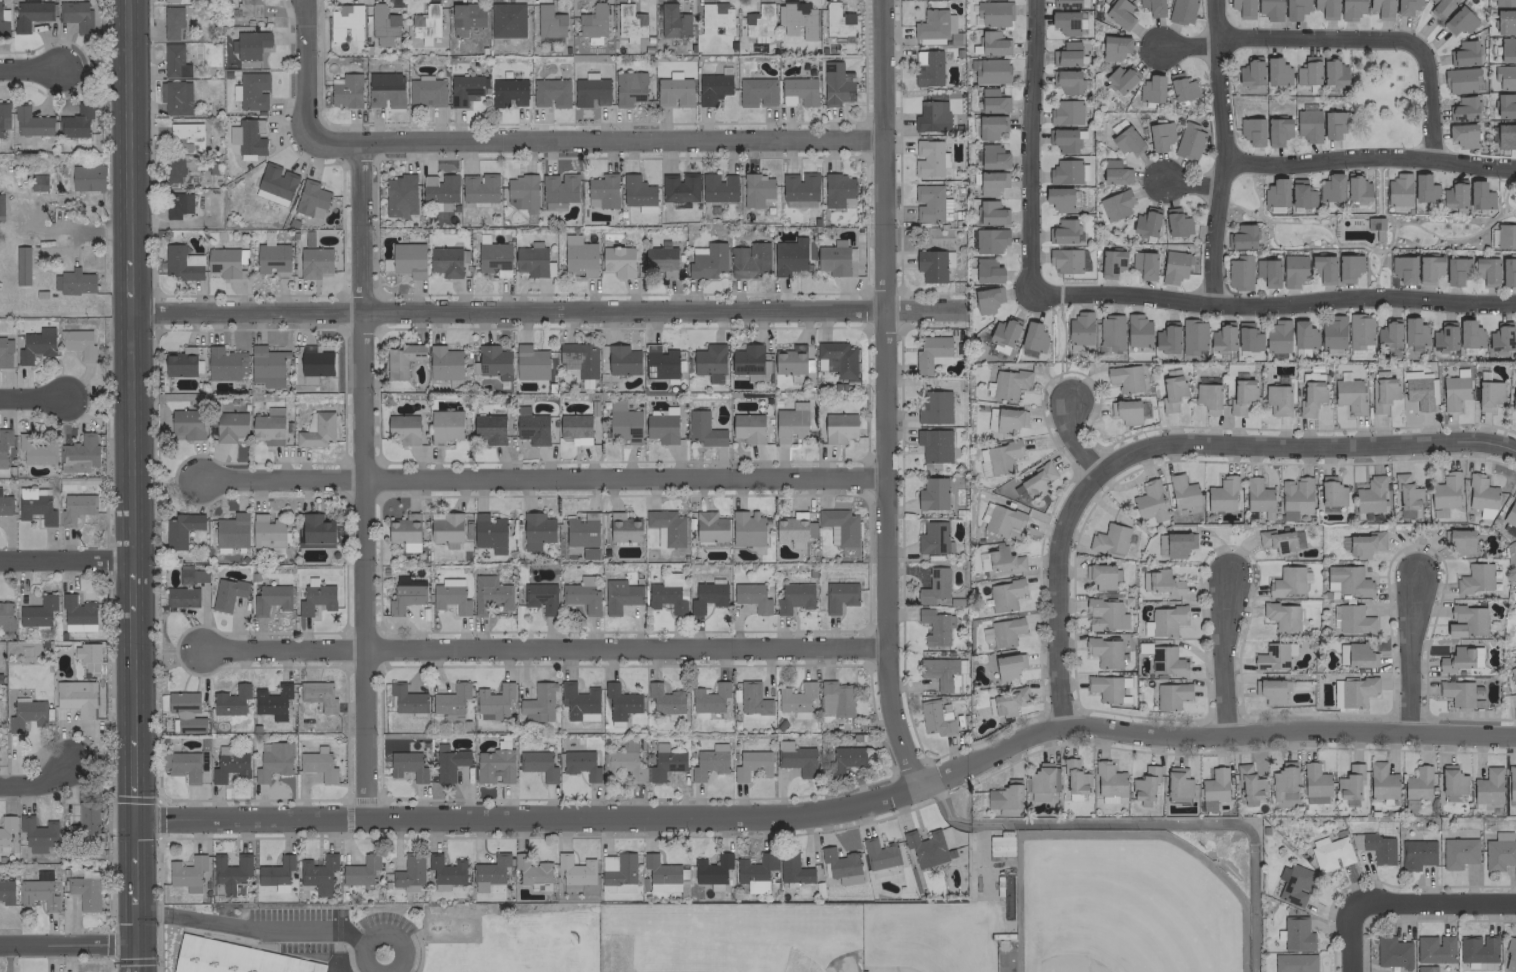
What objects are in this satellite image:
building: (169, 1)
building: (1065, 3)
building: (1504, 3)
building: (1406, 6)
building: (1152, 7)
building: (249, 8)
building: (1243, 8)
building: (1326, 8)
building: (1440, 8)
building: (1269, 9)
building: (1295, 9)
building: (1350, 9)
building: (1382, 9)
building: (1181, 11)
building: (992, 13)
building: (1118, 13)
building: (30, 14)
building: (76, 15)
building: (466, 17)
building: (715, 17)
building: (507, 19)
building: (796, 19)
building: (344, 20)
building: (837, 20)
building: (3, 21)
building: (593, 21)
building: (673, 21)
building: (1459, 21)
building: (1504, 21)
building: (172, 22)
building: (549, 22)
building: (759, 22)
building: (1065, 22)
building: (629, 23)
building: (425, 24)
building: (383, 25)
building: (935, 27)
road: (1318, 39)
building: (992, 43)
building: (249, 44)
road: (1189, 46)
building: (1114, 47)
building: (1507, 50)
building: (1464, 53)
building: (1066, 54)
building: (174, 61)
road: (309, 66)
building: (927, 67)
road: (29, 70)
building: (990, 71)
building: (1276, 71)
building: (1308, 71)
building: (1250, 72)
building: (1333, 72)
building: (1505, 76)
building: (1120, 79)
building: (1461, 80)
building: (1066, 81)
building: (835, 84)
building: (1181, 87)
building: (629, 88)
building: (712, 88)
building: (385, 89)
building: (464, 89)
building: (1151, 89)
building: (590, 90)
building: (252, 91)
building: (346, 91)
building: (756, 91)
building: (798, 91)
building: (674, 92)
building: (426, 93)
building: (508, 93)
building: (550, 93)
building: (175, 97)
building: (993, 101)
road: (1429, 103)
building: (1505, 105)
building: (1463, 109)
building: (1065, 112)
building: (4, 115)
building: (931, 116)
building: (31, 122)
building: (75, 122)
building: (1334, 124)
building: (1308, 125)
building: (989, 127)
road: (132, 128)
building: (1251, 130)
building: (1277, 131)
building: (187, 135)
building: (1159, 135)
building: (1462, 135)
building: (1505, 135)
building: (248, 137)
building: (1124, 138)
building: (1062, 139)
building: (1188, 141)
road: (594, 142)
road: (1029, 147)
road: (1224, 152)
building: (993, 157)
building: (930, 159)
road: (1370, 159)
building: (173, 168)
building: (1068, 172)
building: (1113, 172)
building: (87, 177)
building: (37, 182)
building: (991, 182)
building: (275, 184)
road: (1193, 185)
building: (679, 187)
building: (718, 187)
building: (479, 188)
building: (1331, 188)
building: (1424, 188)
building: (756, 189)
building: (799, 189)
building: (1398, 189)
building: (440, 190)
building: (558, 190)
building: (838, 190)
building: (1357, 190)
building: (602, 191)
building: (521, 192)
building: (1275, 192)
building: (638, 193)
building: (1300, 194)
building: (1454, 195)
building: (1480, 195)
building: (399, 196)
building: (310, 199)
building: (1059, 199)
building: (930, 203)
building: (177, 204)
building: (1115, 205)
building: (1, 207)
building: (989, 212)
building: (1146, 222)
building: (1176, 222)
building: (1063, 231)
building: (1506, 235)
building: (1241, 237)
building: (989, 240)
building: (579, 256)
building: (789, 256)
building: (493, 258)
building: (660, 258)
building: (272, 259)
building: (408, 259)
building: (836, 259)
building: (618, 260)
building: (706, 260)
building: (748, 260)
building: (1065, 260)
building: (314, 261)
building: (445, 261)
building: (531, 261)
building: (182, 262)
building: (224, 262)
building: (1111, 263)
building: (933, 264)
building: (1143, 264)
building: (21, 265)
building: (1174, 266)
building: (1348, 267)
building: (1323, 268)
building: (1403, 269)
building: (1428, 269)
building: (987, 270)
building: (1293, 270)
building: (1456, 270)
building: (1486, 270)
building: (1508, 271)
building: (1239, 272)
building: (1267, 272)
building: (74, 281)
road: (134, 286)
building: (986, 299)
road: (1273, 304)
road: (546, 312)
building: (1079, 328)
building: (1137, 330)
building: (1004, 331)
building: (1110, 331)
building: (1332, 331)
building: (1359, 331)
building: (1414, 331)
building: (1515, 331)
building: (1388, 334)
building: (1469, 334)
building: (1303, 335)
building: (1193, 336)
building: (1033, 337)
building: (1167, 337)
building: (1222, 337)
building: (1247, 337)
building: (1443, 337)
building: (1500, 337)
building: (1277, 338)
building: (77, 342)
building: (36, 345)
building: (5, 352)
building: (1301, 352)
building: (931, 353)
building: (578, 358)
building: (837, 358)
building: (401, 359)
building: (747, 359)
building: (622, 360)
building: (791, 360)
building: (494, 361)
building: (180, 362)
building: (530, 362)
building: (660, 362)
building: (709, 362)
building: (225, 363)
building: (444, 363)
building: (314, 364)
building: (267, 366)
building: (1311, 376)
building: (1125, 377)
building: (1009, 382)
building: (1382, 390)
building: (1453, 392)
building: (1171, 393)
building: (1488, 394)
road: (885, 395)
building: (1349, 395)
building: (1240, 396)
road: (32, 397)
building: (1207, 397)
building: (1310, 397)
building: (1513, 399)
building: (1277, 400)
building: (934, 407)
building: (1125, 411)
building: (1006, 420)
building: (623, 423)
building: (186, 424)
building: (445, 425)
building: (789, 425)
building: (229, 426)
building: (268, 426)
building: (531, 426)
building: (747, 427)
building: (838, 427)
building: (403, 428)
building: (489, 428)
building: (575, 428)
building: (661, 428)
building: (703, 429)
building: (317, 430)
road: (135, 436)
road: (1072, 440)
building: (4, 444)
building: (934, 446)
road: (1303, 448)
building: (36, 449)
building: (79, 453)
building: (1002, 456)
building: (982, 462)
road: (544, 480)
building: (1037, 480)
road: (366, 482)
building: (1445, 490)
building: (1182, 491)
building: (1331, 492)
building: (932, 494)
building: (1222, 494)
building: (1406, 494)
building: (1370, 495)
building: (1481, 495)
building: (1258, 497)
building: (1295, 497)
building: (1149, 501)
building: (5, 505)
building: (34, 506)
building: (76, 507)
building: (1510, 513)
building: (999, 519)
building: (839, 526)
building: (445, 527)
building: (623, 527)
building: (666, 527)
building: (709, 527)
building: (746, 527)
building: (181, 529)
building: (794, 529)
building: (231, 530)
building: (536, 530)
building: (581, 530)
building: (315, 531)
building: (404, 531)
building: (267, 532)
building: (489, 533)
building: (933, 538)
building: (1110, 539)
building: (1276, 540)
building: (1458, 541)
building: (1174, 543)
building: (1364, 544)
road: (67, 558)
building: (1000, 559)
building: (190, 574)
building: (1100, 575)
building: (1475, 578)
building: (669, 579)
building: (1346, 580)
building: (1289, 581)
building: (1164, 583)
road: (135, 585)
building: (934, 585)
building: (227, 593)
building: (405, 594)
building: (490, 594)
building: (1004, 594)
road: (1054, 594)
building: (450, 595)
building: (581, 595)
building: (620, 595)
building: (540, 596)
building: (706, 596)
building: (751, 596)
building: (839, 596)
building: (181, 597)
building: (315, 597)
building: (794, 597)
building: (665, 598)
building: (270, 599)
building: (76, 610)
building: (37, 611)
building: (1105, 614)
building: (6, 615)
building: (1282, 616)
building: (1166, 619)
building: (1351, 619)
building: (1466, 621)
building: (935, 626)
building: (78, 627)
building: (1005, 631)
road: (545, 649)
building: (1104, 651)
building: (86, 652)
building: (1354, 654)
road: (1406, 654)
road: (1218, 655)
building: (1273, 656)
building: (1456, 659)
building: (1166, 661)
building: (1008, 666)
road: (135, 672)
building: (940, 673)
building: (1513, 680)
building: (1106, 688)
building: (1269, 690)
building: (1356, 691)
building: (1457, 692)
building: (318, 695)
building: (1170, 695)
building: (76, 697)
building: (709, 698)
building: (753, 698)
building: (835, 698)
building: (406, 699)
building: (451, 699)
building: (796, 699)
building: (665, 700)
building: (272, 701)
building: (1008, 701)
building: (230, 702)
building: (493, 702)
building: (579, 702)
building: (538, 703)
building: (620, 703)
building: (186, 712)
building: (26, 714)
building: (935, 718)
road: (1287, 731)
building: (796, 758)
building: (845, 758)
building: (273, 761)
building: (709, 761)
building: (448, 762)
building: (626, 763)
building: (228, 764)
building: (318, 764)
building: (538, 764)
building: (581, 764)
building: (665, 764)
building: (751, 764)
building: (183, 765)
building: (407, 765)
building: (494, 766)
road: (137, 776)
building: (1074, 776)
road: (39, 779)
building: (1108, 780)
building: (1452, 780)
building: (1042, 781)
building: (1381, 781)
building: (1248, 782)
building: (1283, 782)
building: (1349, 782)
building: (1511, 782)
building: (1144, 783)
building: (1418, 783)
building: (1314, 784)
building: (1178, 785)
building: (1487, 786)
building: (1213, 788)
building: (1005, 795)
road: (606, 820)
building: (85, 821)
traffic signals: (137, 822)
building: (6, 829)
building: (37, 834)
road: (137, 839)
building: (925, 847)
building: (1000, 847)
building: (1375, 847)
building: (1499, 851)
building: (1329, 852)
building: (1458, 852)
building: (1416, 853)
building: (878, 854)
building: (841, 866)
building: (446, 869)
building: (575, 869)
building: (711, 869)
building: (793, 869)
building: (360, 870)
building: (230, 871)
building: (275, 871)
building: (489, 872)
building: (532, 872)
building: (617, 872)
building: (755, 872)
building: (187, 873)
building: (318, 873)
building: (664, 874)
building: (409, 875)
road: (137, 882)
building: (1293, 884)
building: (85, 890)
building: (38, 891)
building: (6, 892)
park: (1125, 903)
road: (1433, 905)
road: (137, 926)
road: (314, 929)
building: (1296, 934)
road: (1352, 941)
road: (69, 944)
traffic signals: (138, 944)
building: (1477, 948)
building: (1434, 949)
building: (1392, 952)
building: (1510, 956)
road: (138, 958)
building: (235, 958)
building: (1294, 962)
building: (1425, 968)

